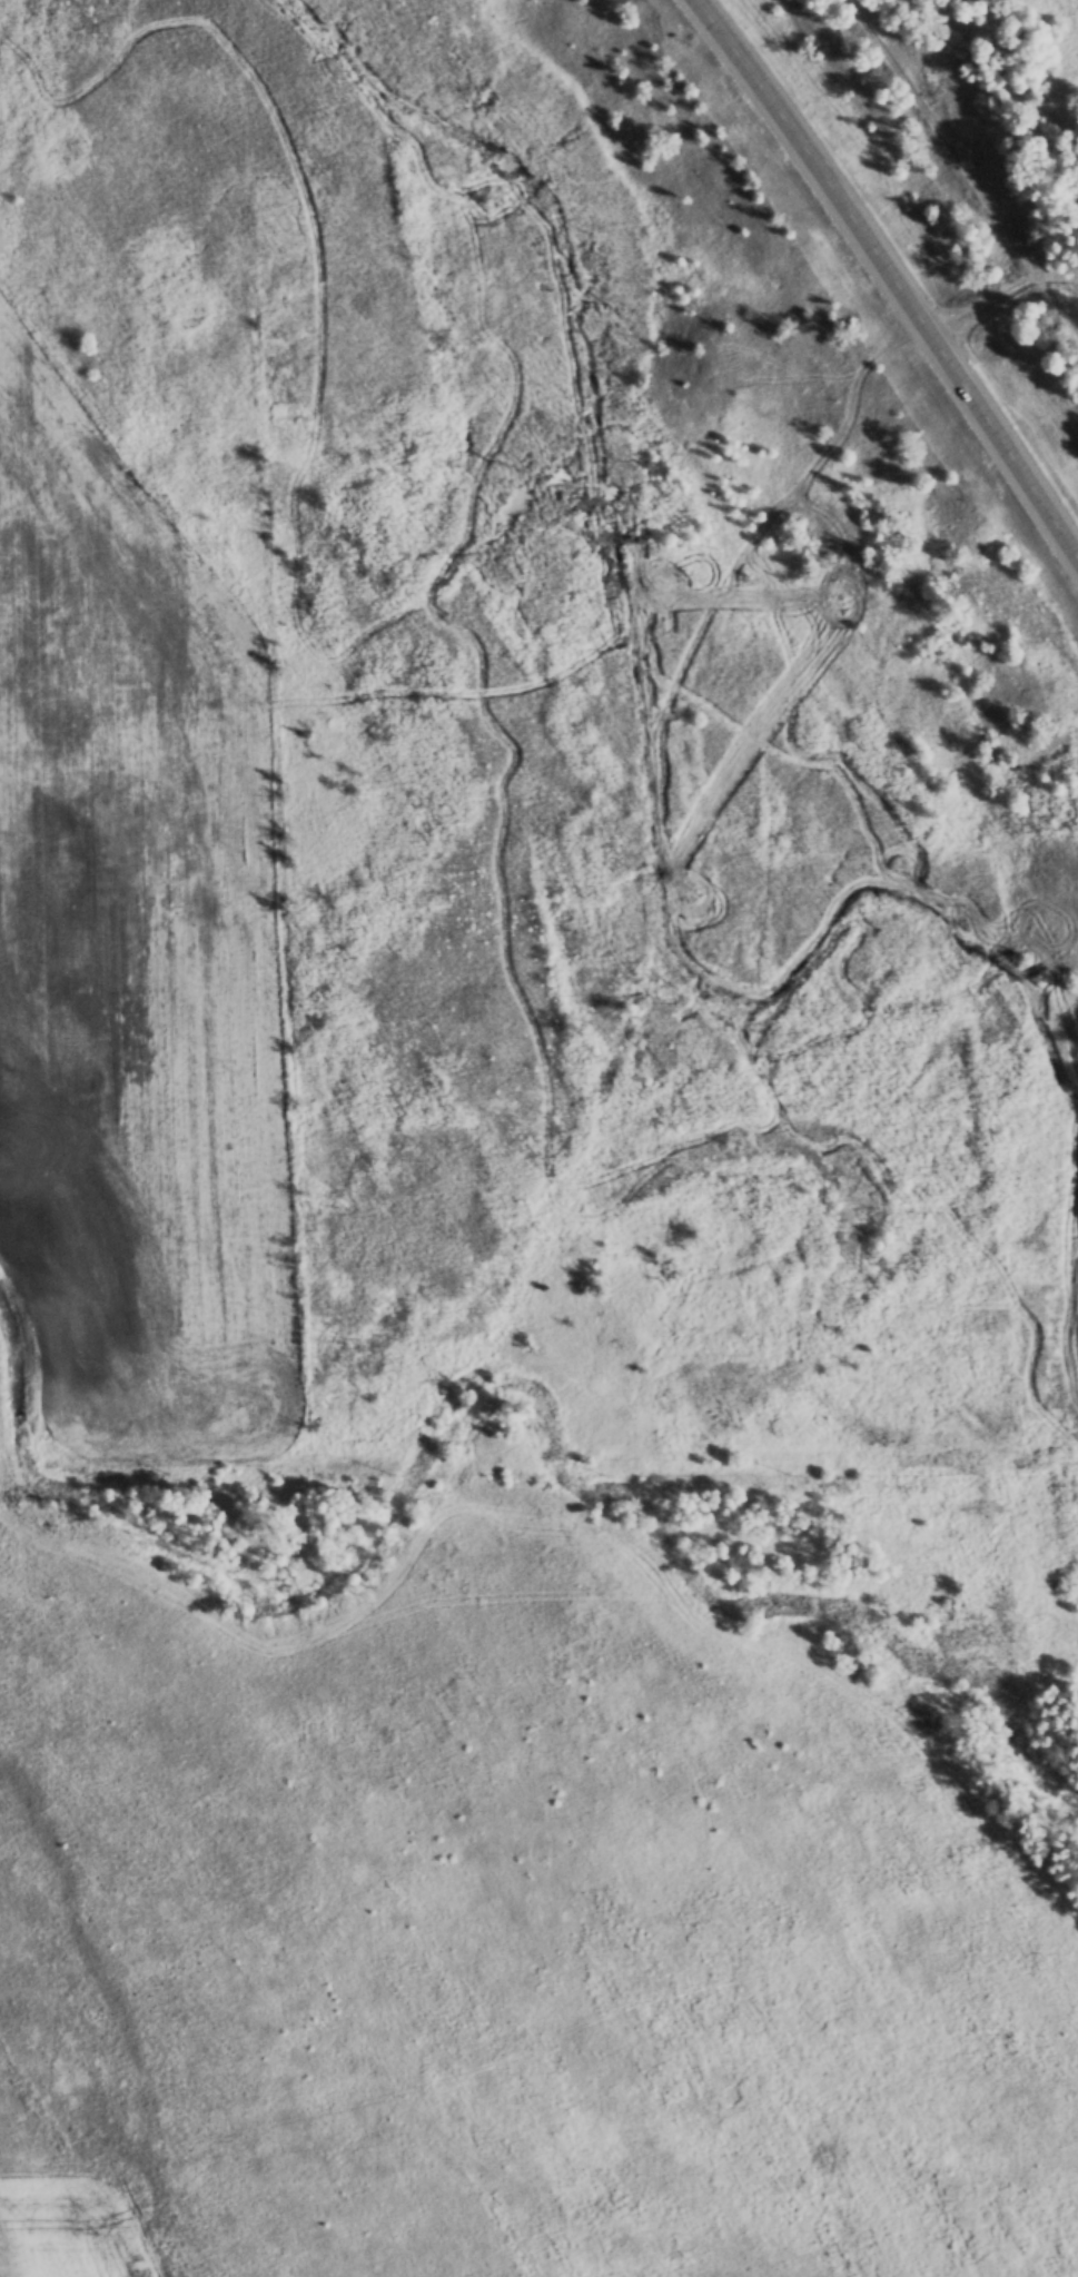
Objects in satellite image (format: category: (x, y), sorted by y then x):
road: (962, 169)
road: (896, 267)

